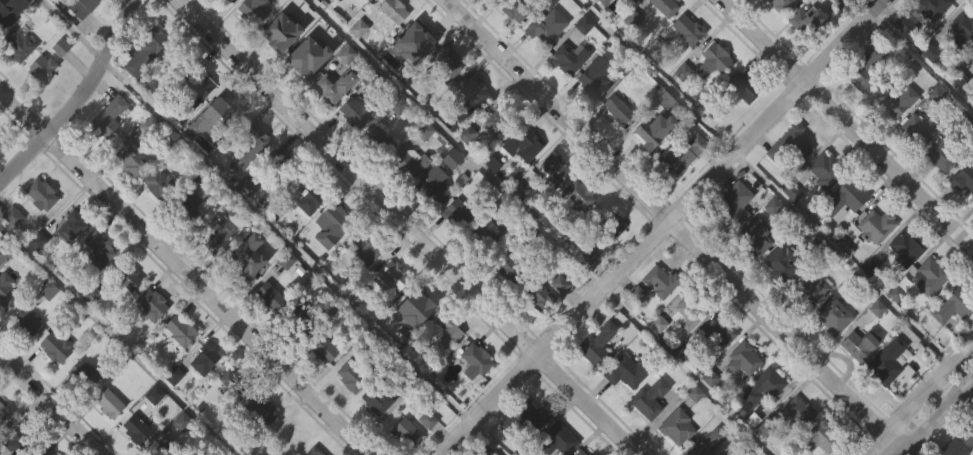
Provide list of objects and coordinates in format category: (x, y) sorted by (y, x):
building: (632, 0)
building: (602, 2)
building: (874, 2)
building: (850, 3)
building: (196, 4)
building: (780, 5)
building: (665, 6)
building: (80, 7)
building: (930, 7)
building: (326, 8)
building: (514, 8)
building: (748, 9)
building: (250, 11)
building: (395, 11)
building: (266, 16)
building: (484, 19)
building: (632, 19)
building: (223, 21)
building: (362, 21)
building: (808, 21)
building: (2, 23)
building: (584, 24)
building: (546, 25)
building: (687, 28)
road: (72, 29)
building: (962, 31)
building: (274, 32)
building: (601, 33)
building: (89, 34)
building: (774, 35)
building: (416, 37)
building: (660, 41)
building: (929, 42)
building: (17, 44)
building: (251, 45)
building: (391, 47)
building: (512, 47)
building: (142, 52)
road: (918, 53)
building: (972, 54)
building: (629, 57)
building: (568, 58)
building: (802, 58)
building: (903, 58)
building: (300, 59)
building: (713, 59)
building: (1, 61)
building: (581, 62)
building: (445, 63)
building: (544, 64)
building: (356, 66)
building: (41, 67)
building: (864, 67)
building: (960, 69)
building: (279, 70)
building: (680, 70)
building: (594, 76)
road: (657, 76)
building: (413, 77)
building: (16, 82)
building: (972, 82)
building: (58, 85)
building: (742, 85)
building: (195, 86)
building: (327, 88)
building: (470, 89)
building: (306, 93)
building: (971, 93)
building: (567, 95)
road: (77, 98)
building: (664, 99)
building: (710, 99)
building: (894, 99)
building: (443, 100)
building: (135, 101)
building: (40, 106)
building: (863, 106)
building: (400, 107)
building: (617, 108)
building: (972, 108)
building: (225, 109)
building: (355, 110)
building: (680, 110)
building: (502, 115)
building: (594, 115)
building: (108, 117)
building: (332, 124)
building: (739, 124)
road: (847, 124)
building: (195, 126)
building: (469, 128)
building: (919, 128)
building: (649, 132)
building: (892, 139)
building: (378, 141)
building: (526, 141)
building: (1, 143)
building: (248, 144)
road: (456, 144)
building: (614, 146)
building: (789, 146)
building: (352, 151)
building: (946, 153)
building: (108, 154)
building: (681, 155)
building: (210, 157)
building: (493, 159)
building: (132, 161)
building: (277, 162)
building: (409, 163)
building: (916, 167)
building: (553, 169)
building: (651, 170)
building: (820, 171)
building: (463, 172)
building: (964, 177)
building: (377, 178)
building: (1, 181)
building: (523, 182)
building: (159, 184)
building: (246, 185)
building: (433, 185)
building: (679, 193)
building: (40, 194)
building: (578, 195)
building: (940, 195)
building: (449, 196)
building: (275, 197)
building: (844, 197)
building: (310, 198)
building: (130, 199)
building: (408, 201)
building: (187, 205)
building: (552, 207)
building: (733, 207)
building: (822, 209)
building: (458, 212)
building: (965, 214)
building: (155, 220)
building: (245, 223)
building: (432, 223)
road: (672, 223)
building: (330, 225)
building: (518, 225)
building: (877, 225)
building: (69, 226)
road: (660, 226)
road: (408, 227)
building: (609, 228)
building: (789, 230)
building: (38, 232)
building: (1, 235)
building: (574, 235)
building: (484, 237)
building: (306, 238)
building: (849, 239)
road: (286, 240)
building: (757, 240)
building: (214, 241)
building: (731, 241)
building: (188, 244)
building: (906, 247)
building: (364, 248)
building: (96, 250)
building: (455, 250)
building: (0, 252)
road: (845, 259)
building: (781, 261)
building: (330, 263)
building: (69, 264)
building: (872, 264)
building: (607, 266)
building: (239, 267)
building: (509, 268)
road: (185, 271)
building: (483, 272)
building: (935, 272)
building: (126, 275)
building: (391, 276)
building: (754, 276)
building: (846, 278)
building: (212, 279)
building: (661, 280)
building: (902, 286)
building: (96, 288)
building: (5, 289)
building: (362, 289)
building: (809, 290)
building: (585, 292)
building: (270, 295)
building: (537, 296)
building: (419, 301)
building: (778, 301)
building: (150, 303)
building: (953, 305)
building: (507, 307)
building: (692, 307)
building: (388, 314)
building: (833, 315)
building: (926, 315)
building: (297, 319)
building: (658, 319)
building: (25, 321)
building: (557, 321)
building: (44, 326)
building: (5, 328)
building: (807, 328)
building: (447, 329)
building: (178, 330)
building: (634, 330)
building: (893, 331)
building: (267, 334)
building: (718, 334)
building: (536, 335)
road: (118, 337)
building: (149, 341)
building: (421, 342)
building: (599, 344)
building: (950, 344)
building: (863, 345)
building: (322, 346)
building: (54, 347)
building: (683, 353)
building: (829, 354)
building: (204, 357)
building: (746, 358)
building: (24, 359)
building: (475, 360)
building: (656, 361)
building: (889, 361)
building: (444, 369)
building: (626, 371)
road: (687, 371)
building: (84, 372)
building: (175, 373)
building: (714, 373)
building: (355, 374)
building: (594, 382)
building: (234, 383)
building: (857, 383)
building: (53, 384)
building: (765, 386)
building: (321, 387)
building: (155, 395)
building: (202, 397)
building: (649, 398)
building: (740, 398)
building: (376, 399)
building: (472, 399)
building: (884, 399)
building: (107, 402)
road: (918, 402)
road: (51, 404)
building: (622, 409)
building: (81, 411)
building: (260, 411)
building: (798, 412)
building: (171, 413)
building: (3, 414)
building: (347, 414)
road: (932, 414)
building: (707, 415)
building: (225, 416)
building: (525, 417)
building: (180, 423)
building: (761, 424)
building: (678, 427)
building: (137, 428)
building: (968, 430)
building: (406, 431)
building: (152, 432)
building: (646, 436)
building: (286, 437)
building: (374, 437)
road: (487, 438)
building: (820, 438)
building: (106, 439)
building: (15, 440)
building: (559, 440)
building: (705, 443)
building: (795, 446)
building: (164, 448)
building: (259, 448)
building: (526, 448)
building: (953, 448)
building: (313, 451)
building: (675, 451)
building: (42, 452)
building: (423, 452)
building: (131, 453)
building: (580, 453)
building: (400, 454)

